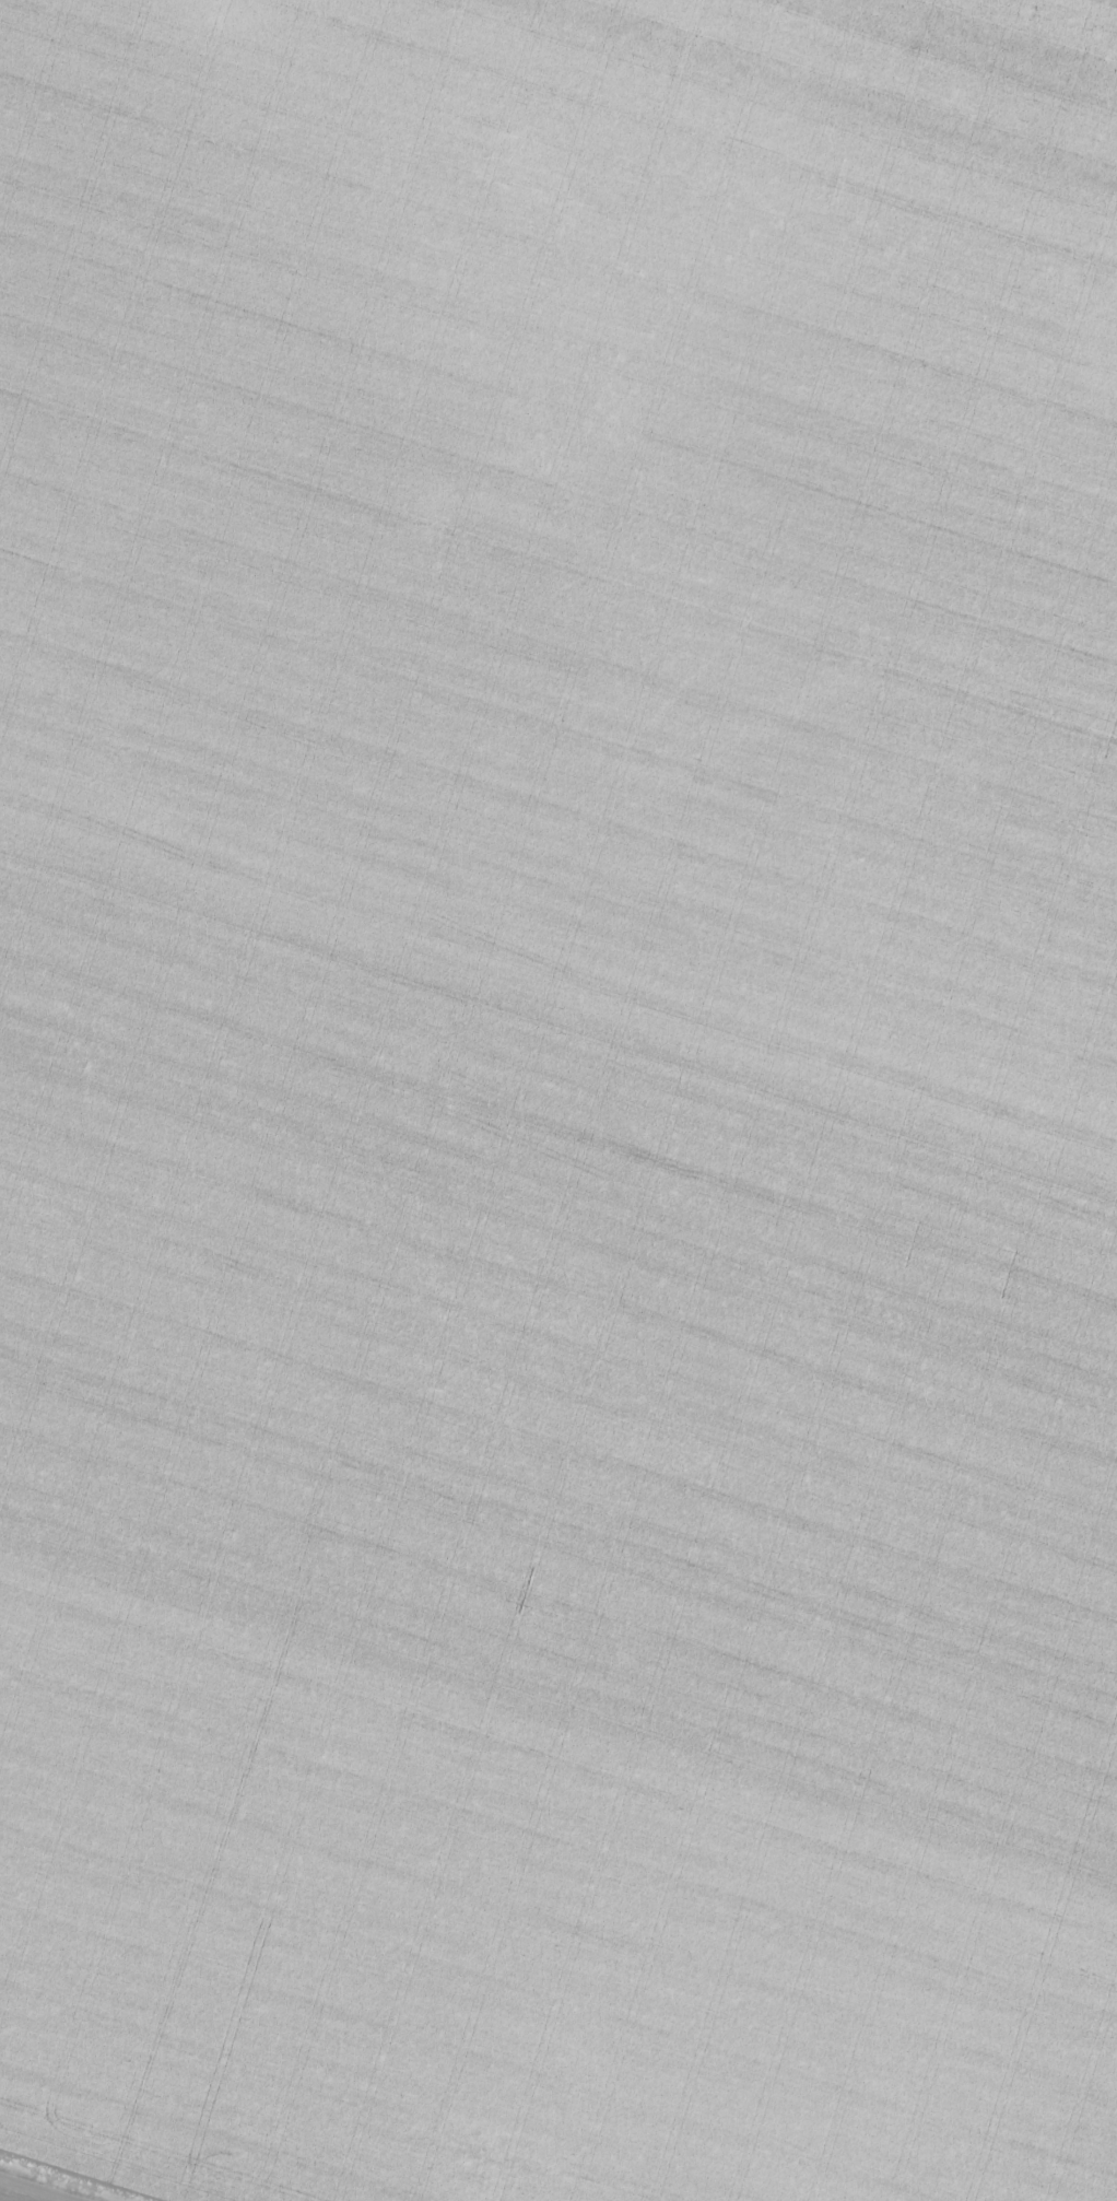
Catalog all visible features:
road: (38, 2189)

